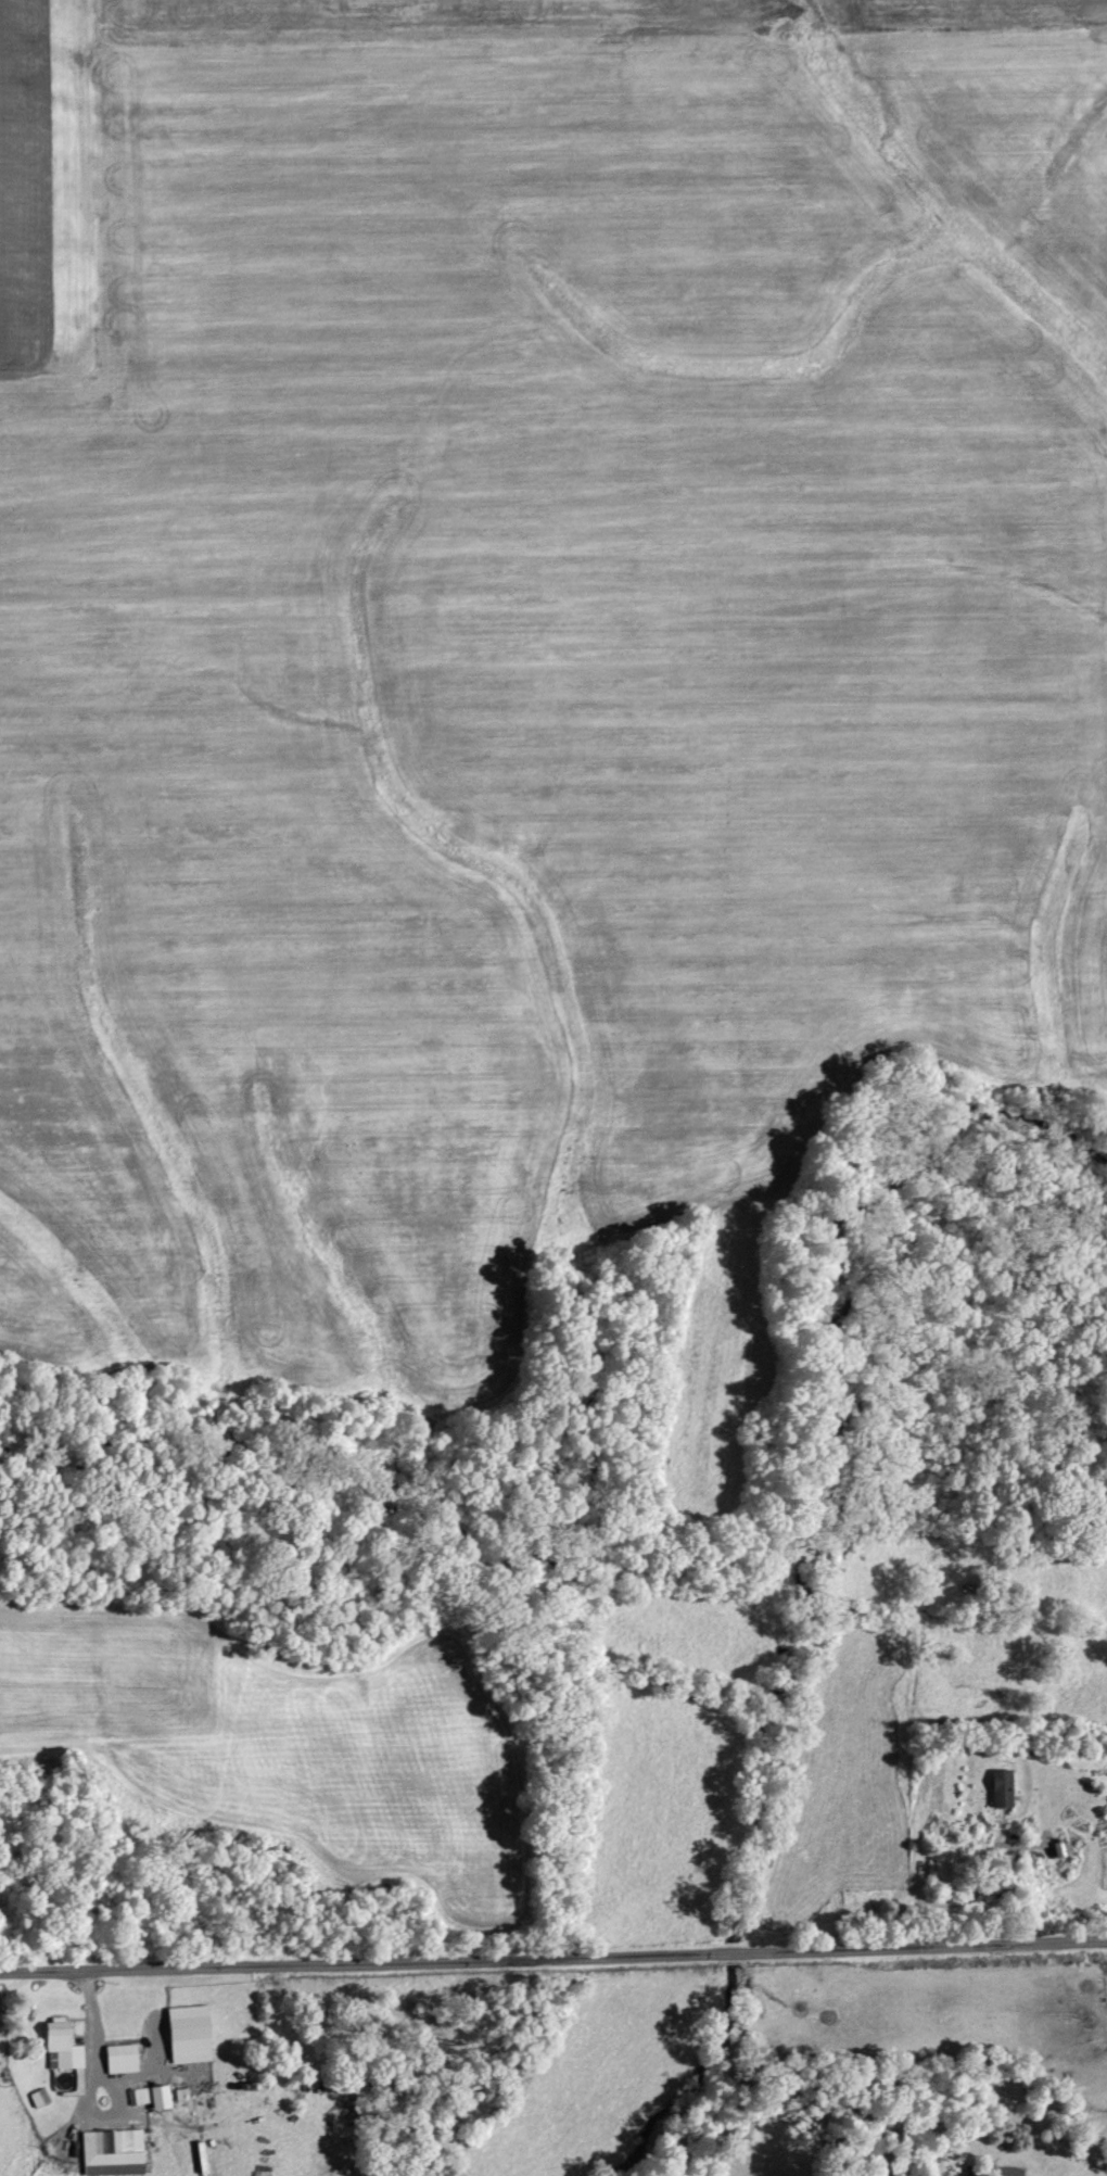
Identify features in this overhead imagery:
building: (1005, 1788)
road: (552, 1957)
road: (88, 2019)
building: (193, 2034)
building: (66, 2047)
building: (125, 2059)
road: (107, 2087)
building: (182, 2095)
building: (155, 2097)
building: (41, 2098)
building: (116, 2153)
building: (1014, 2172)

